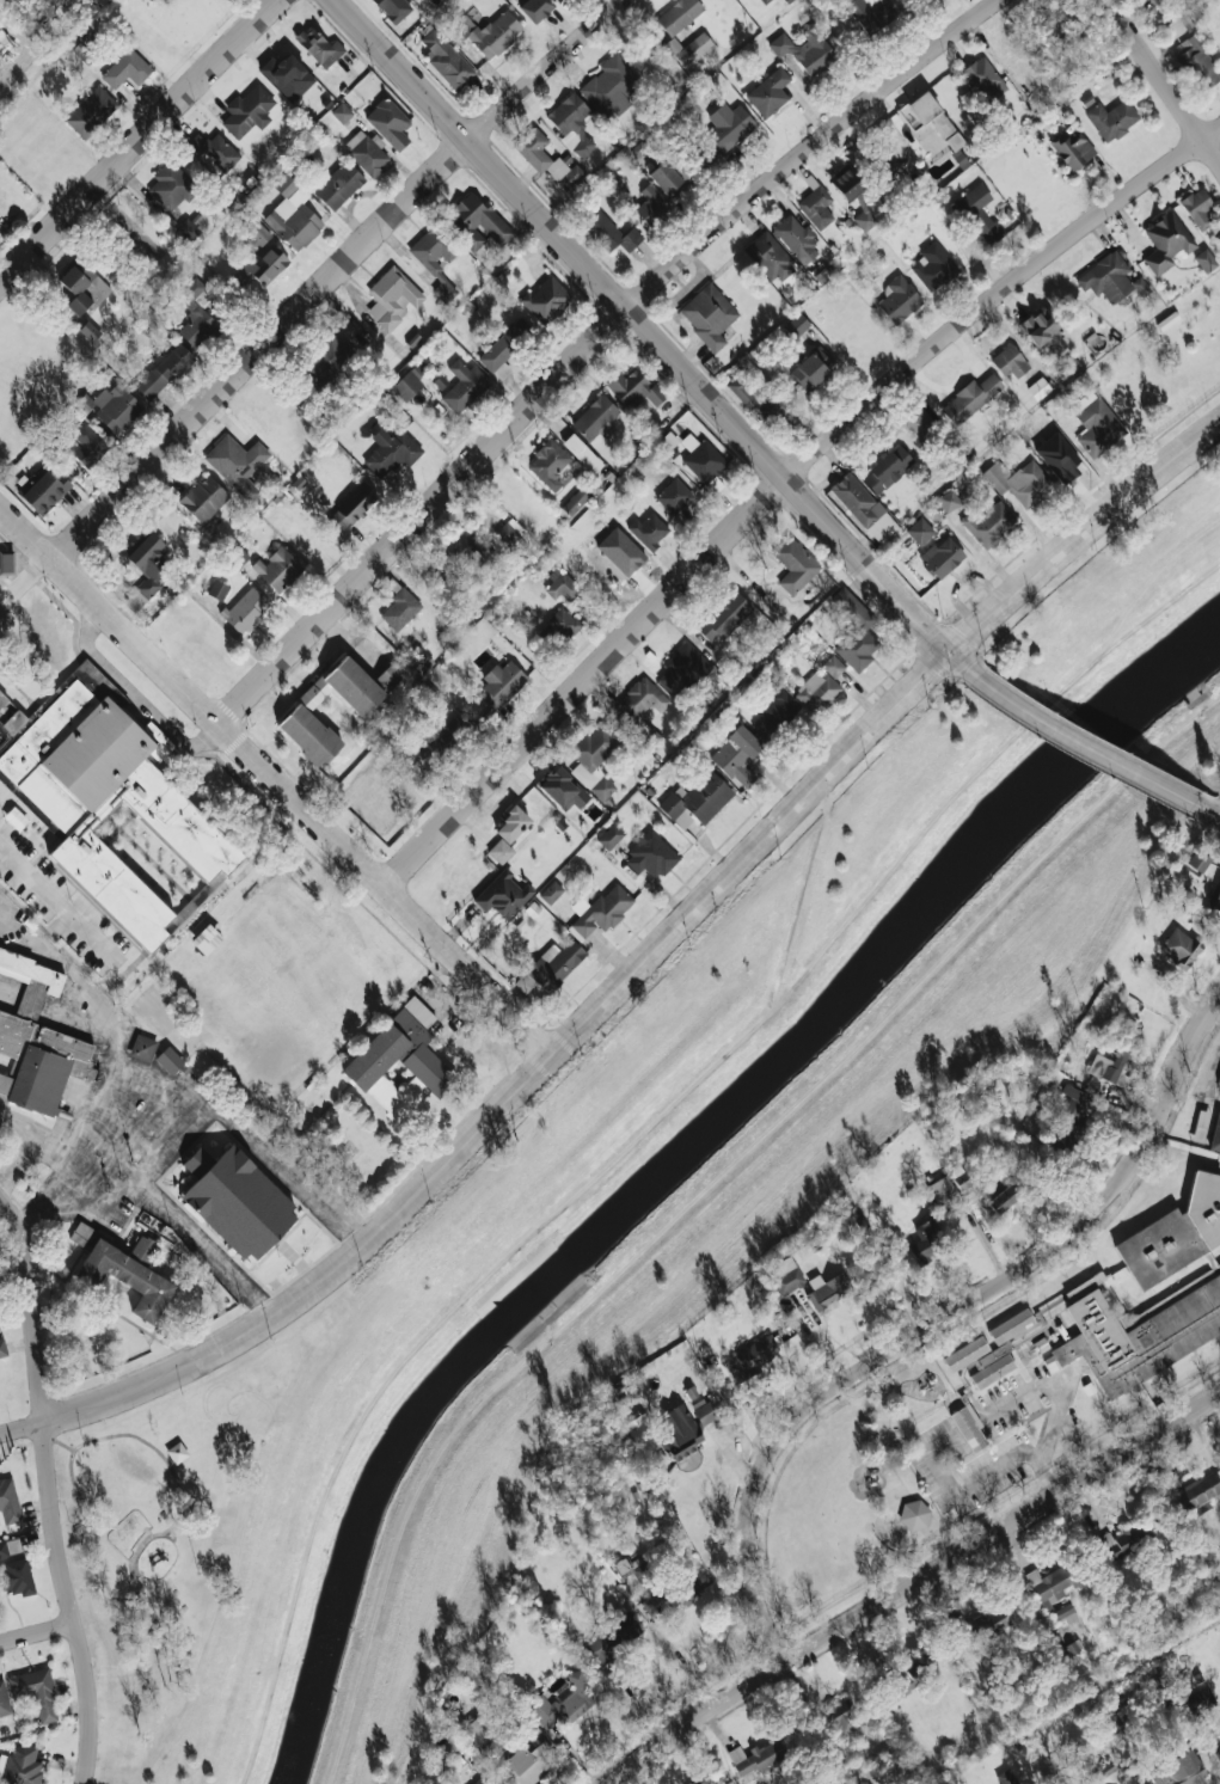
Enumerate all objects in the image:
building: (98, 1)
building: (764, 1)
building: (51, 2)
building: (1154, 2)
building: (394, 7)
building: (535, 8)
building: (869, 12)
building: (679, 14)
building: (486, 32)
building: (86, 47)
building: (319, 47)
building: (694, 49)
building: (805, 50)
building: (445, 57)
building: (1197, 61)
building: (125, 68)
building: (287, 75)
building: (985, 79)
road: (1164, 79)
building: (768, 92)
building: (91, 111)
building: (247, 111)
building: (342, 112)
building: (930, 118)
building: (1111, 118)
building: (388, 122)
building: (571, 123)
building: (729, 125)
road: (139, 142)
building: (214, 149)
building: (1072, 149)
building: (366, 153)
building: (545, 158)
building: (664, 177)
building: (847, 183)
building: (338, 185)
building: (171, 186)
building: (650, 204)
building: (816, 206)
building: (1196, 208)
building: (980, 210)
building: (293, 214)
building: (865, 220)
building: (477, 222)
building: (186, 229)
building: (607, 229)
building: (796, 237)
building: (1165, 241)
building: (768, 257)
building: (436, 259)
building: (1204, 259)
building: (933, 265)
building: (259, 268)
road: (332, 272)
building: (1109, 278)
building: (81, 287)
building: (392, 298)
building: (546, 299)
building: (897, 300)
building: (197, 313)
building: (707, 314)
building: (795, 325)
building: (1042, 330)
building: (90, 331)
road: (655, 337)
road: (593, 343)
building: (505, 347)
building: (330, 356)
building: (1011, 362)
building: (813, 369)
building: (164, 370)
building: (409, 382)
building: (464, 385)
building: (634, 388)
building: (1038, 388)
building: (969, 398)
building: (758, 401)
building: (116, 407)
building: (595, 417)
building: (918, 422)
building: (1096, 424)
building: (85, 445)
building: (391, 450)
building: (582, 453)
building: (703, 461)
building: (237, 464)
building: (547, 464)
building: (887, 468)
road: (780, 480)
building: (1019, 480)
building: (43, 491)
building: (674, 496)
building: (203, 498)
building: (948, 499)
building: (351, 507)
building: (863, 507)
building: (989, 523)
building: (649, 529)
building: (919, 531)
building: (509, 532)
building: (456, 551)
building: (238, 554)
building: (942, 556)
building: (6, 562)
building: (793, 564)
building: (147, 568)
building: (277, 569)
road: (26, 583)
building: (560, 584)
building: (217, 589)
building: (245, 609)
building: (399, 609)
building: (723, 617)
building: (564, 624)
building: (853, 631)
building: (683, 668)
building: (390, 675)
building: (502, 683)
building: (820, 687)
road: (135, 698)
building: (642, 699)
building: (300, 715)
building: (775, 715)
building: (651, 737)
building: (441, 738)
building: (594, 746)
road: (1087, 749)
building: (736, 755)
building: (586, 774)
road: (275, 778)
building: (562, 787)
building: (602, 787)
building: (695, 799)
building: (117, 811)
road: (1213, 814)
building: (507, 833)
building: (611, 836)
building: (650, 856)
building: (1198, 862)
building: (551, 891)
building: (502, 894)
road: (707, 895)
building: (1215, 895)
road: (59, 903)
building: (603, 909)
road: (33, 933)
building: (206, 939)
building: (1179, 948)
building: (554, 964)
building: (31, 979)
road: (98, 1014)
building: (142, 1048)
building: (168, 1060)
building: (1110, 1061)
building: (41, 1062)
building: (399, 1062)
road: (114, 1079)
building: (1219, 1079)
building: (1072, 1103)
building: (1201, 1127)
building: (1216, 1139)
river: (678, 1155)
building: (961, 1179)
building: (942, 1189)
building: (1003, 1198)
building: (237, 1201)
road: (38, 1202)
building: (81, 1233)
building: (1176, 1234)
building: (926, 1240)
road: (204, 1247)
building: (143, 1249)
building: (785, 1275)
building: (127, 1277)
building: (828, 1288)
road: (940, 1320)
building: (1138, 1338)
building: (2, 1347)
building: (1000, 1348)
building: (965, 1354)
building: (752, 1356)
road: (1032, 1368)
road: (99, 1404)
road: (43, 1408)
building: (703, 1411)
road: (982, 1421)
building: (969, 1428)
building: (668, 1436)
road: (1047, 1475)
building: (1201, 1491)
building: (8, 1501)
building: (914, 1514)
park: (171, 1525)
building: (1123, 1539)
building: (10, 1546)
building: (621, 1567)
road: (133, 1571)
building: (16, 1576)
road: (912, 1582)
building: (1049, 1584)
building: (687, 1587)
building: (650, 1605)
building: (1066, 1613)
building: (981, 1625)
road: (37, 1632)
building: (609, 1638)
road: (683, 1662)
building: (36, 1692)
building: (4, 1700)
building: (1200, 1700)
building: (563, 1702)
road: (87, 1703)
road: (638, 1704)
building: (841, 1718)
building: (1112, 1724)
building: (477, 1730)
building: (531, 1741)
building: (756, 1758)
building: (529, 1762)
building: (20, 1766)
building: (1102, 1767)
building: (1179, 1771)
building: (1005, 1777)
building: (480, 1780)
building: (704, 1782)

